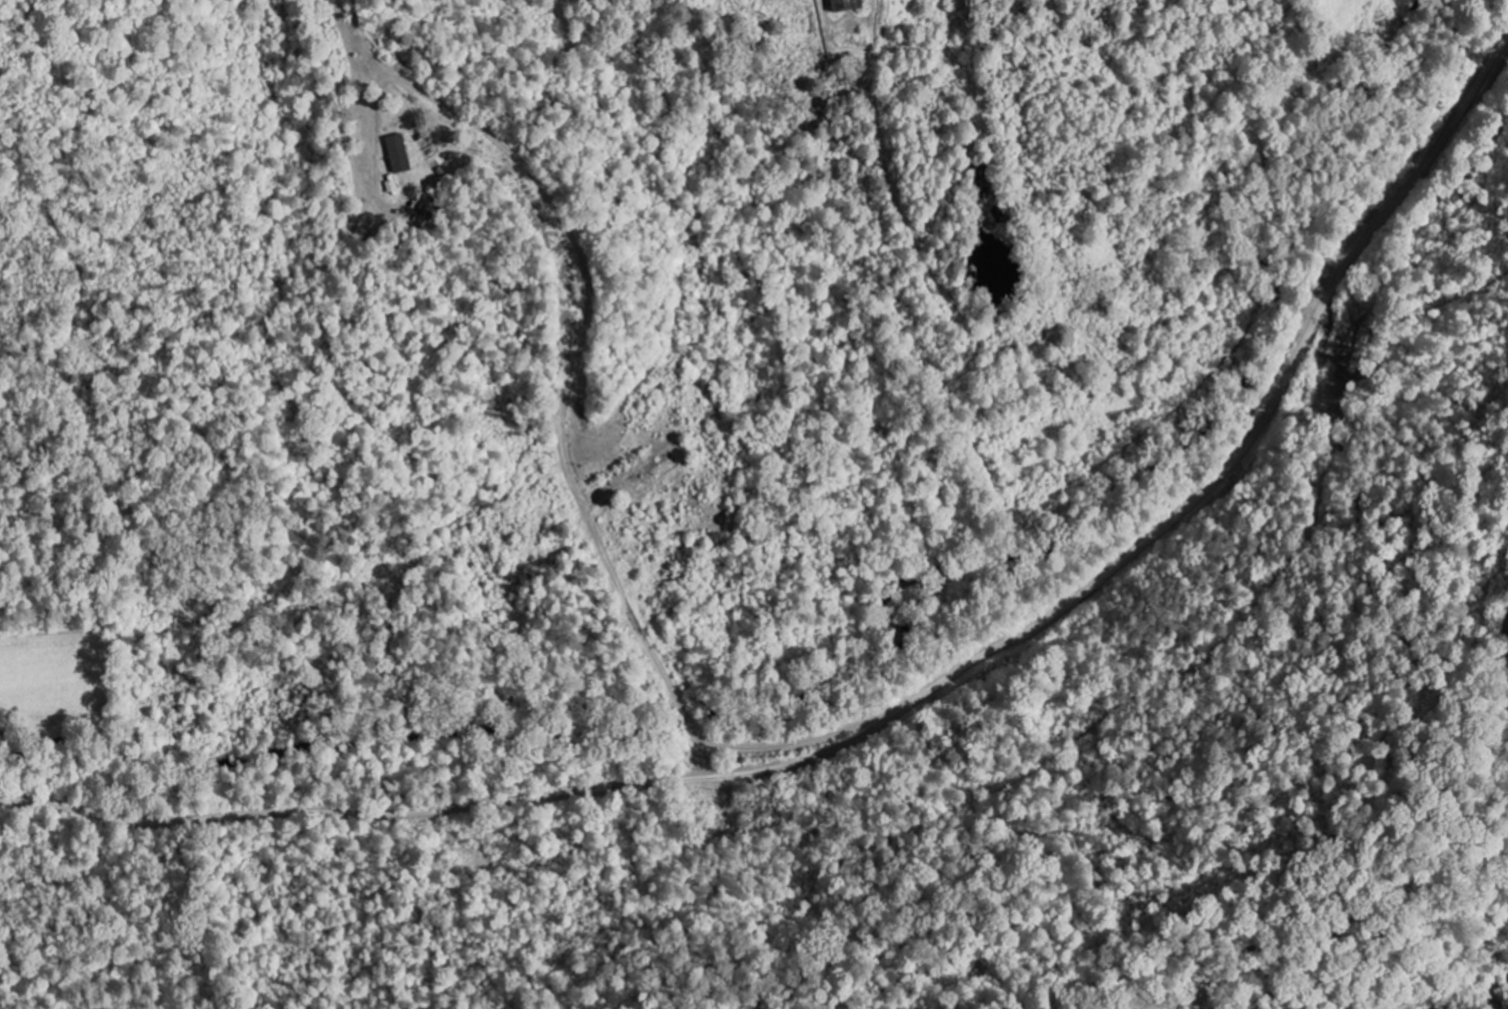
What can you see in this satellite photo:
road: (608, 374)
road: (567, 464)
road: (899, 710)

